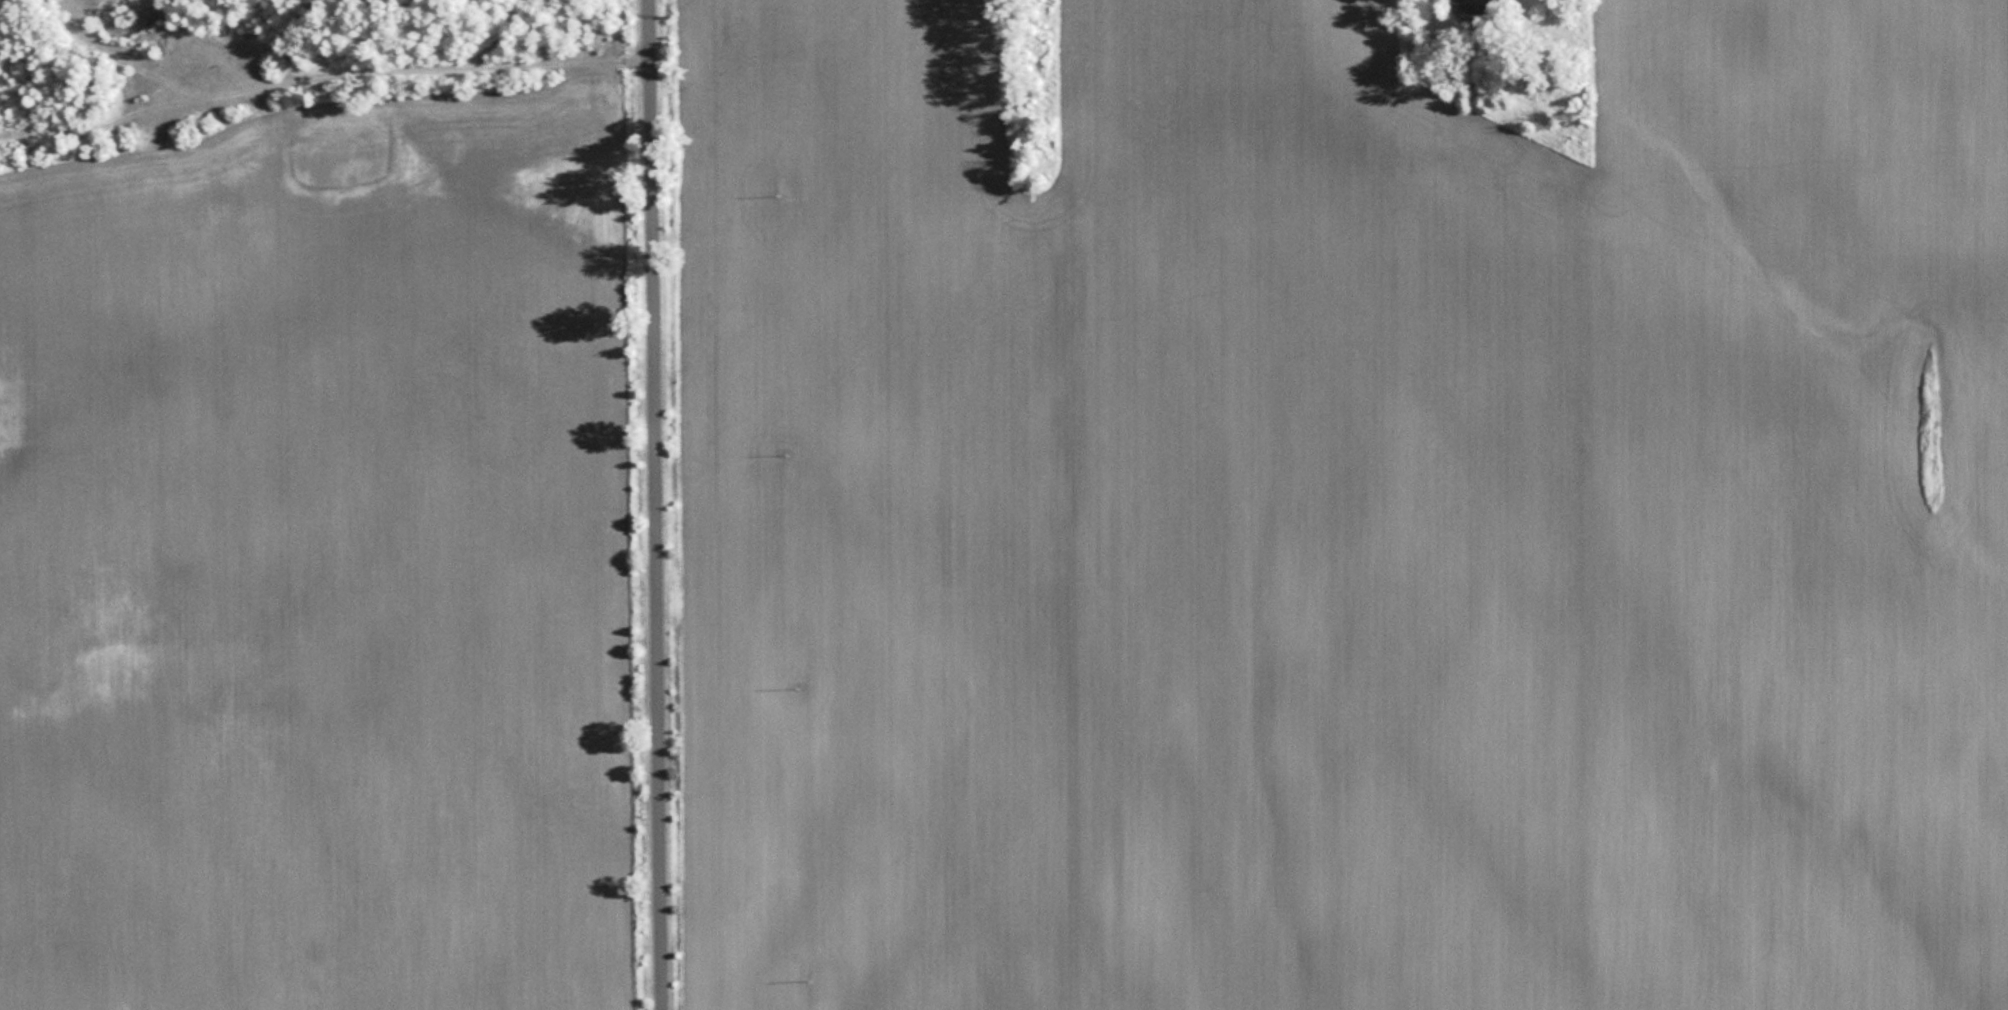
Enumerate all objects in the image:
road: (275, 101)
road: (658, 505)

